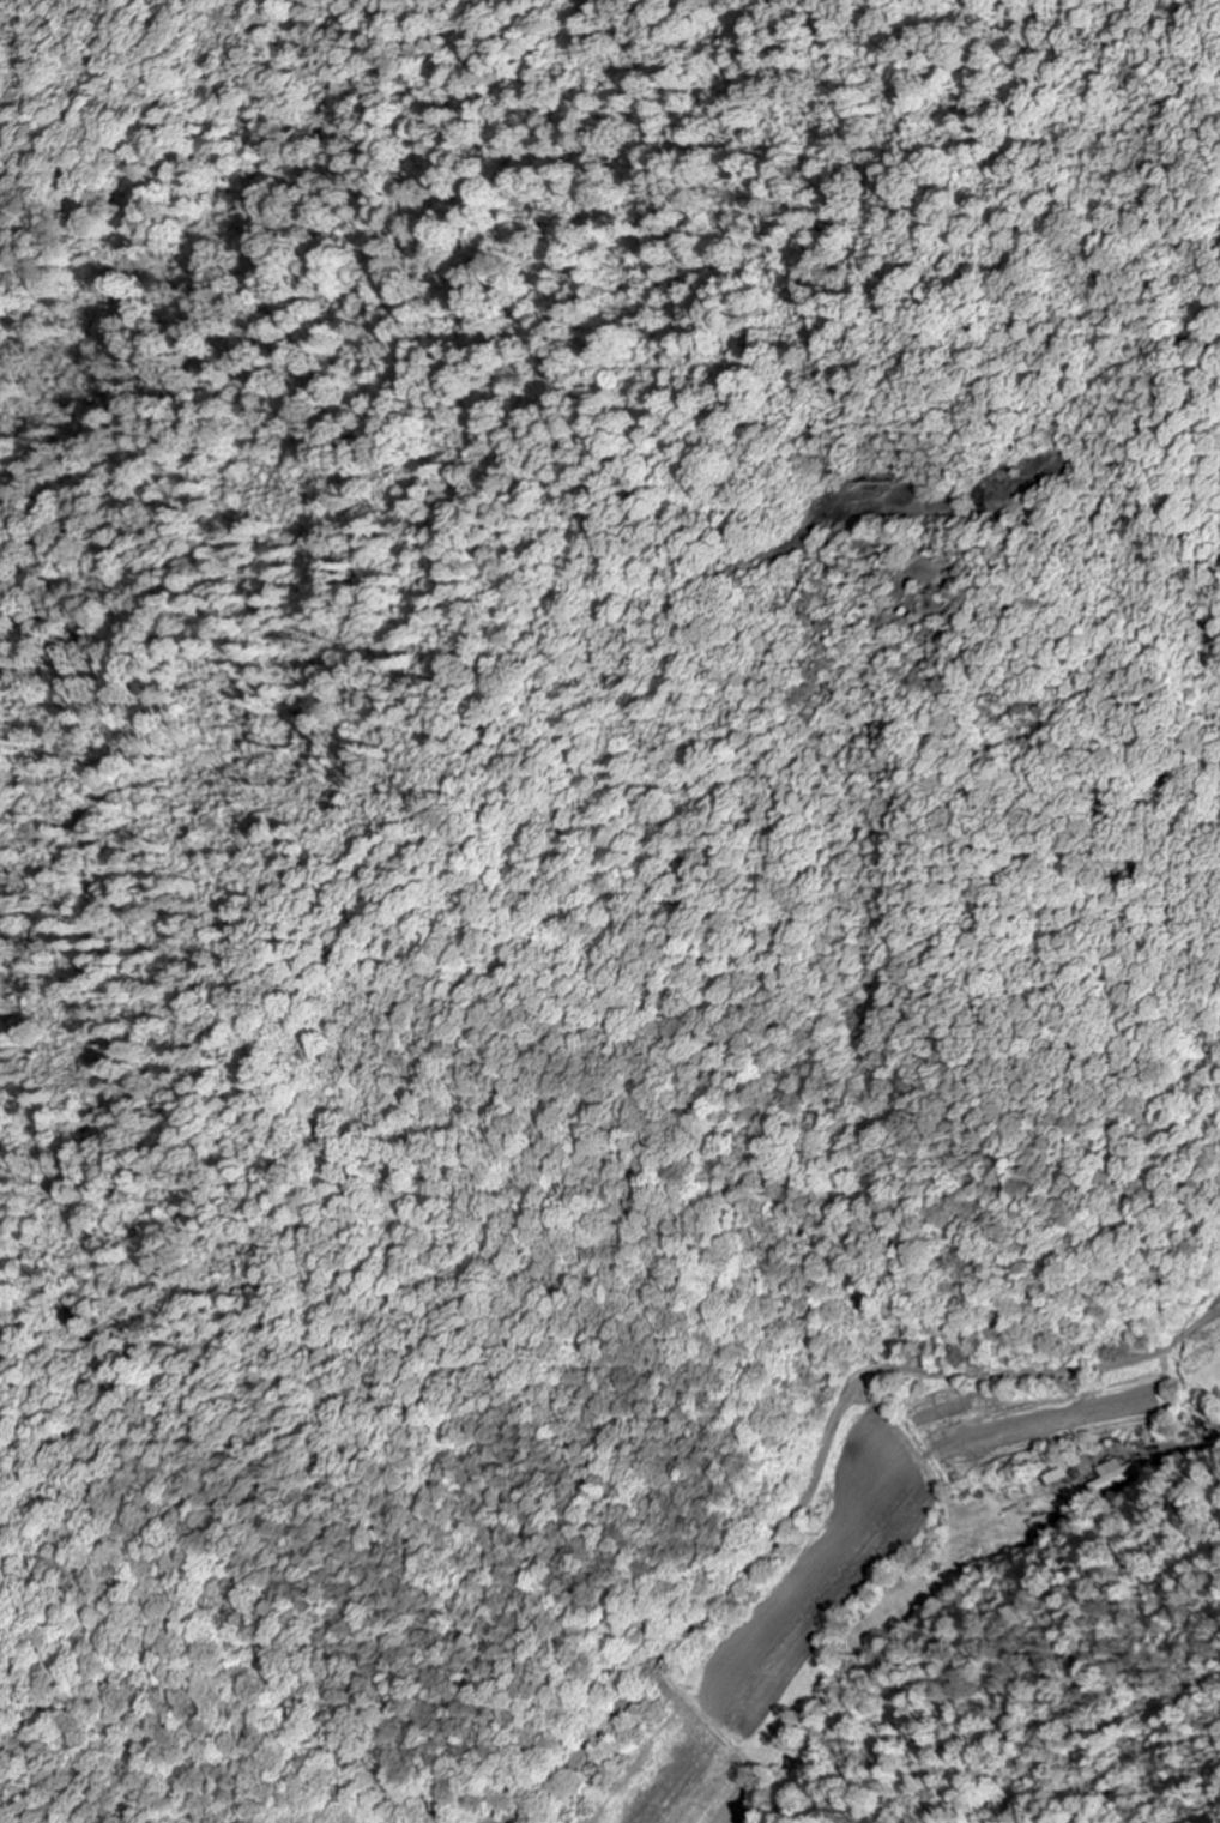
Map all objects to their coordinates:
building: (1107, 1477)

